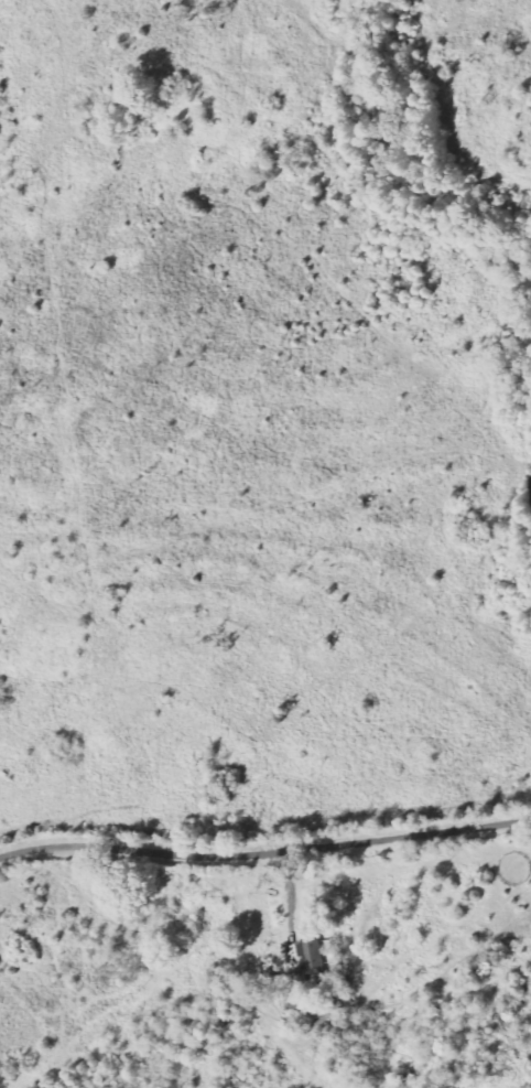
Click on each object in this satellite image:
road: (263, 864)
building: (314, 955)

